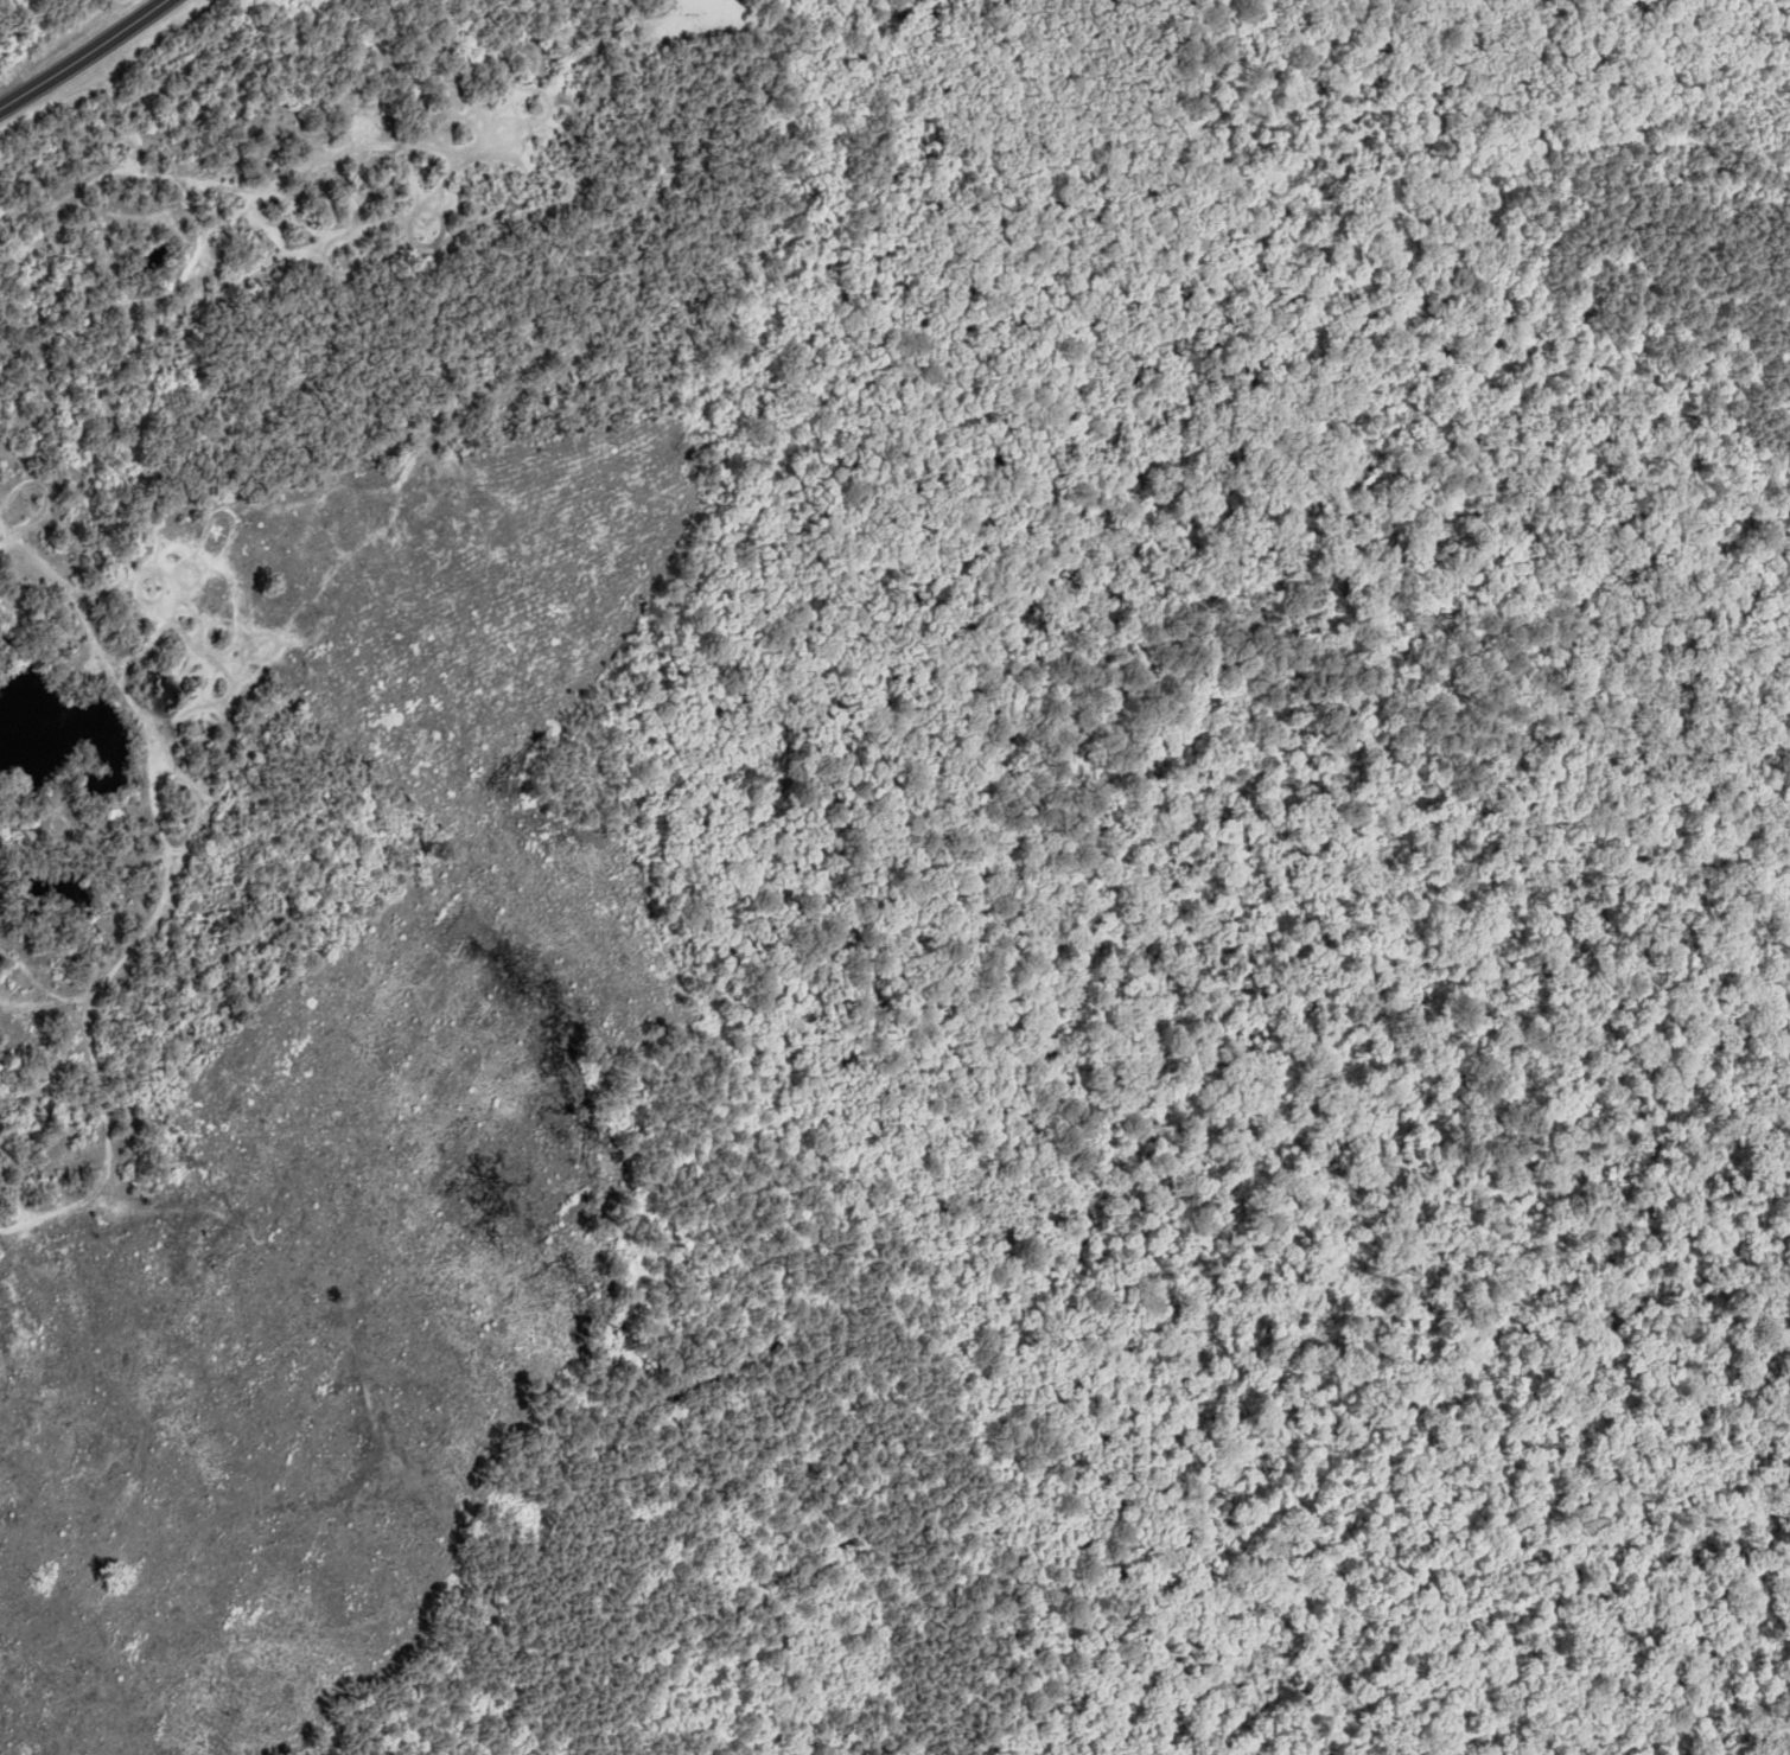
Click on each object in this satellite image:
road: (84, 56)

